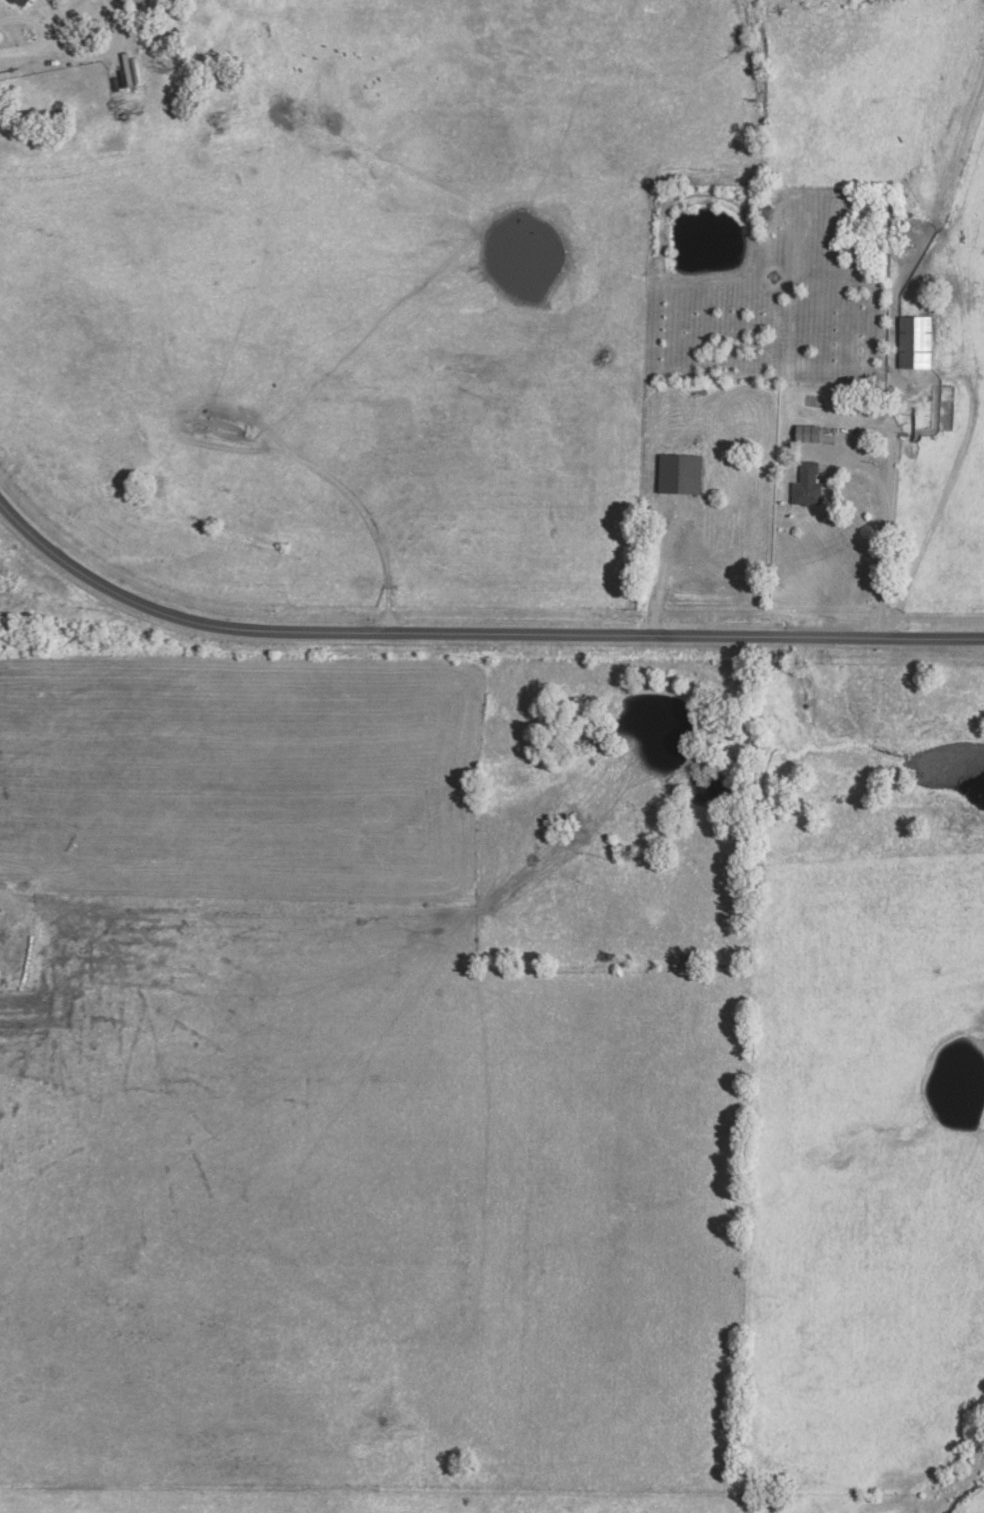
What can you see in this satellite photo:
building: (25, 3)
road: (39, 36)
building: (916, 343)
building: (809, 435)
road: (887, 441)
building: (681, 474)
building: (811, 486)
road: (660, 573)
road: (885, 574)
road: (471, 638)

